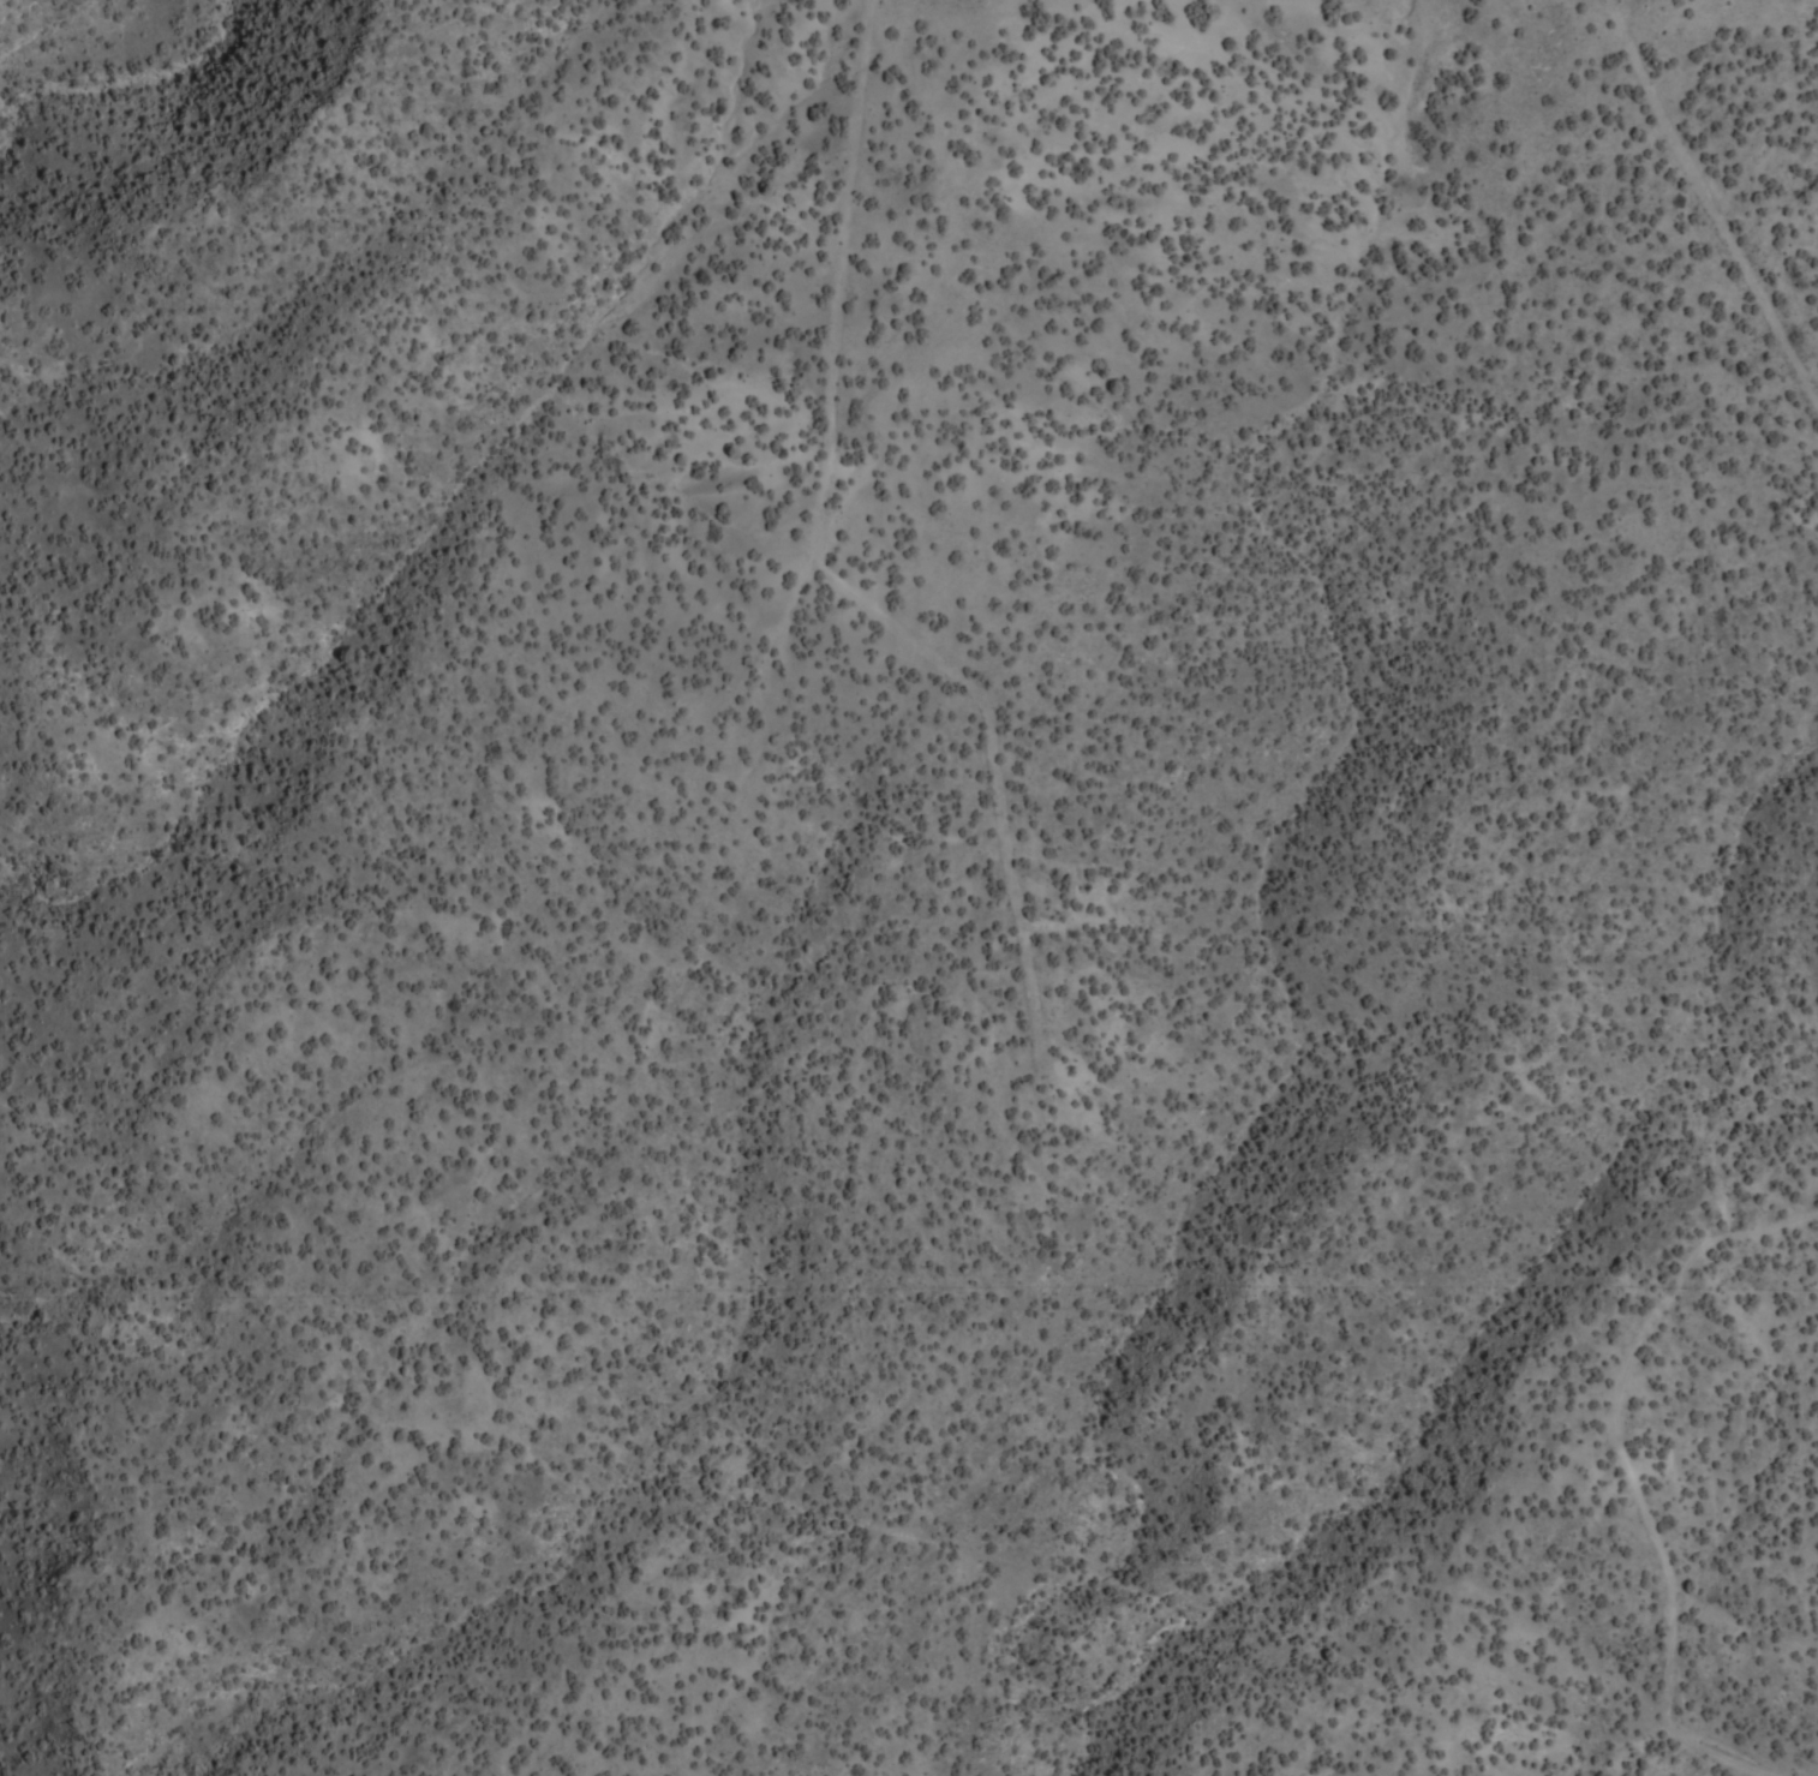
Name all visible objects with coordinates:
road: (1692, 216)

